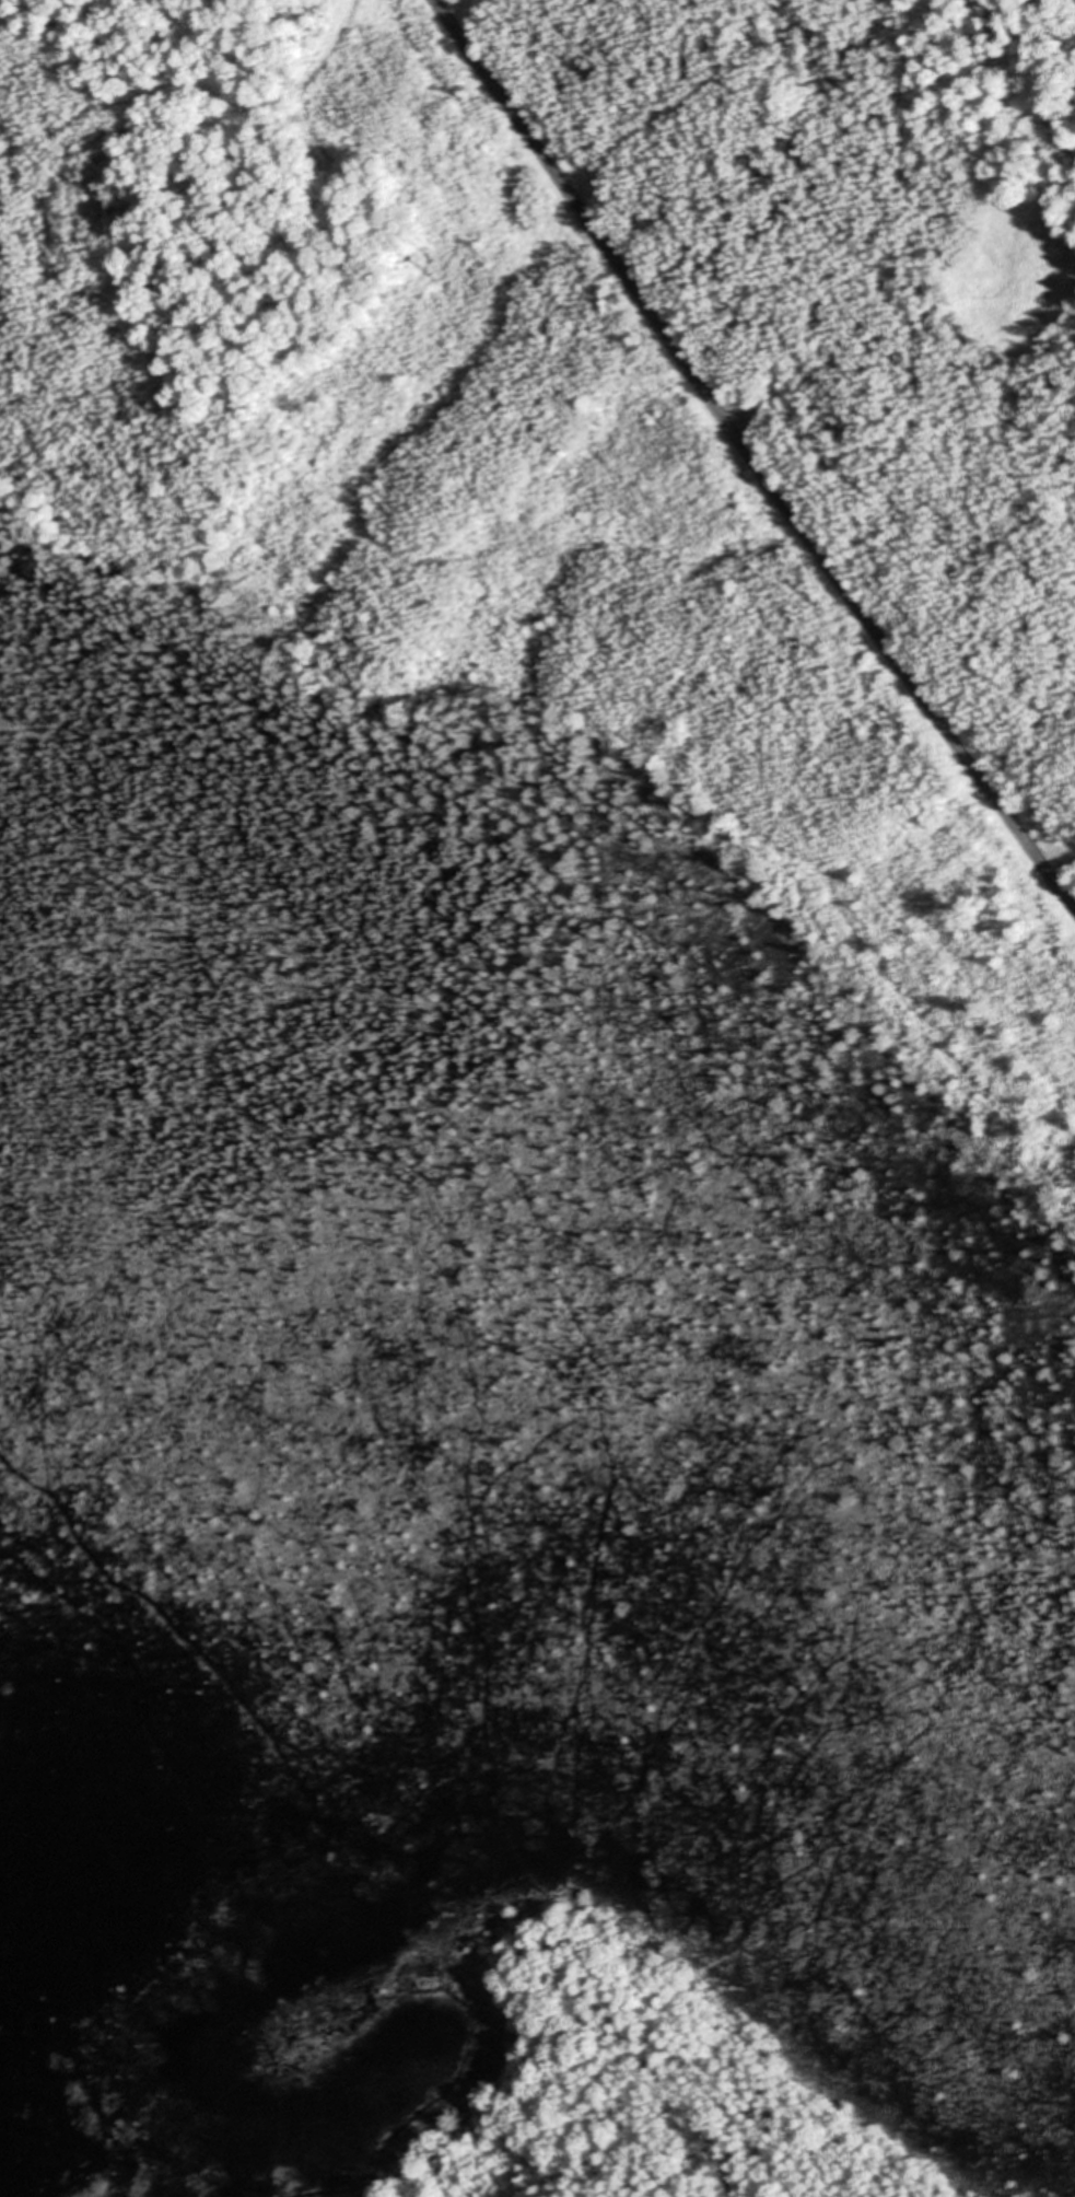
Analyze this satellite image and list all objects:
road: (750, 457)

